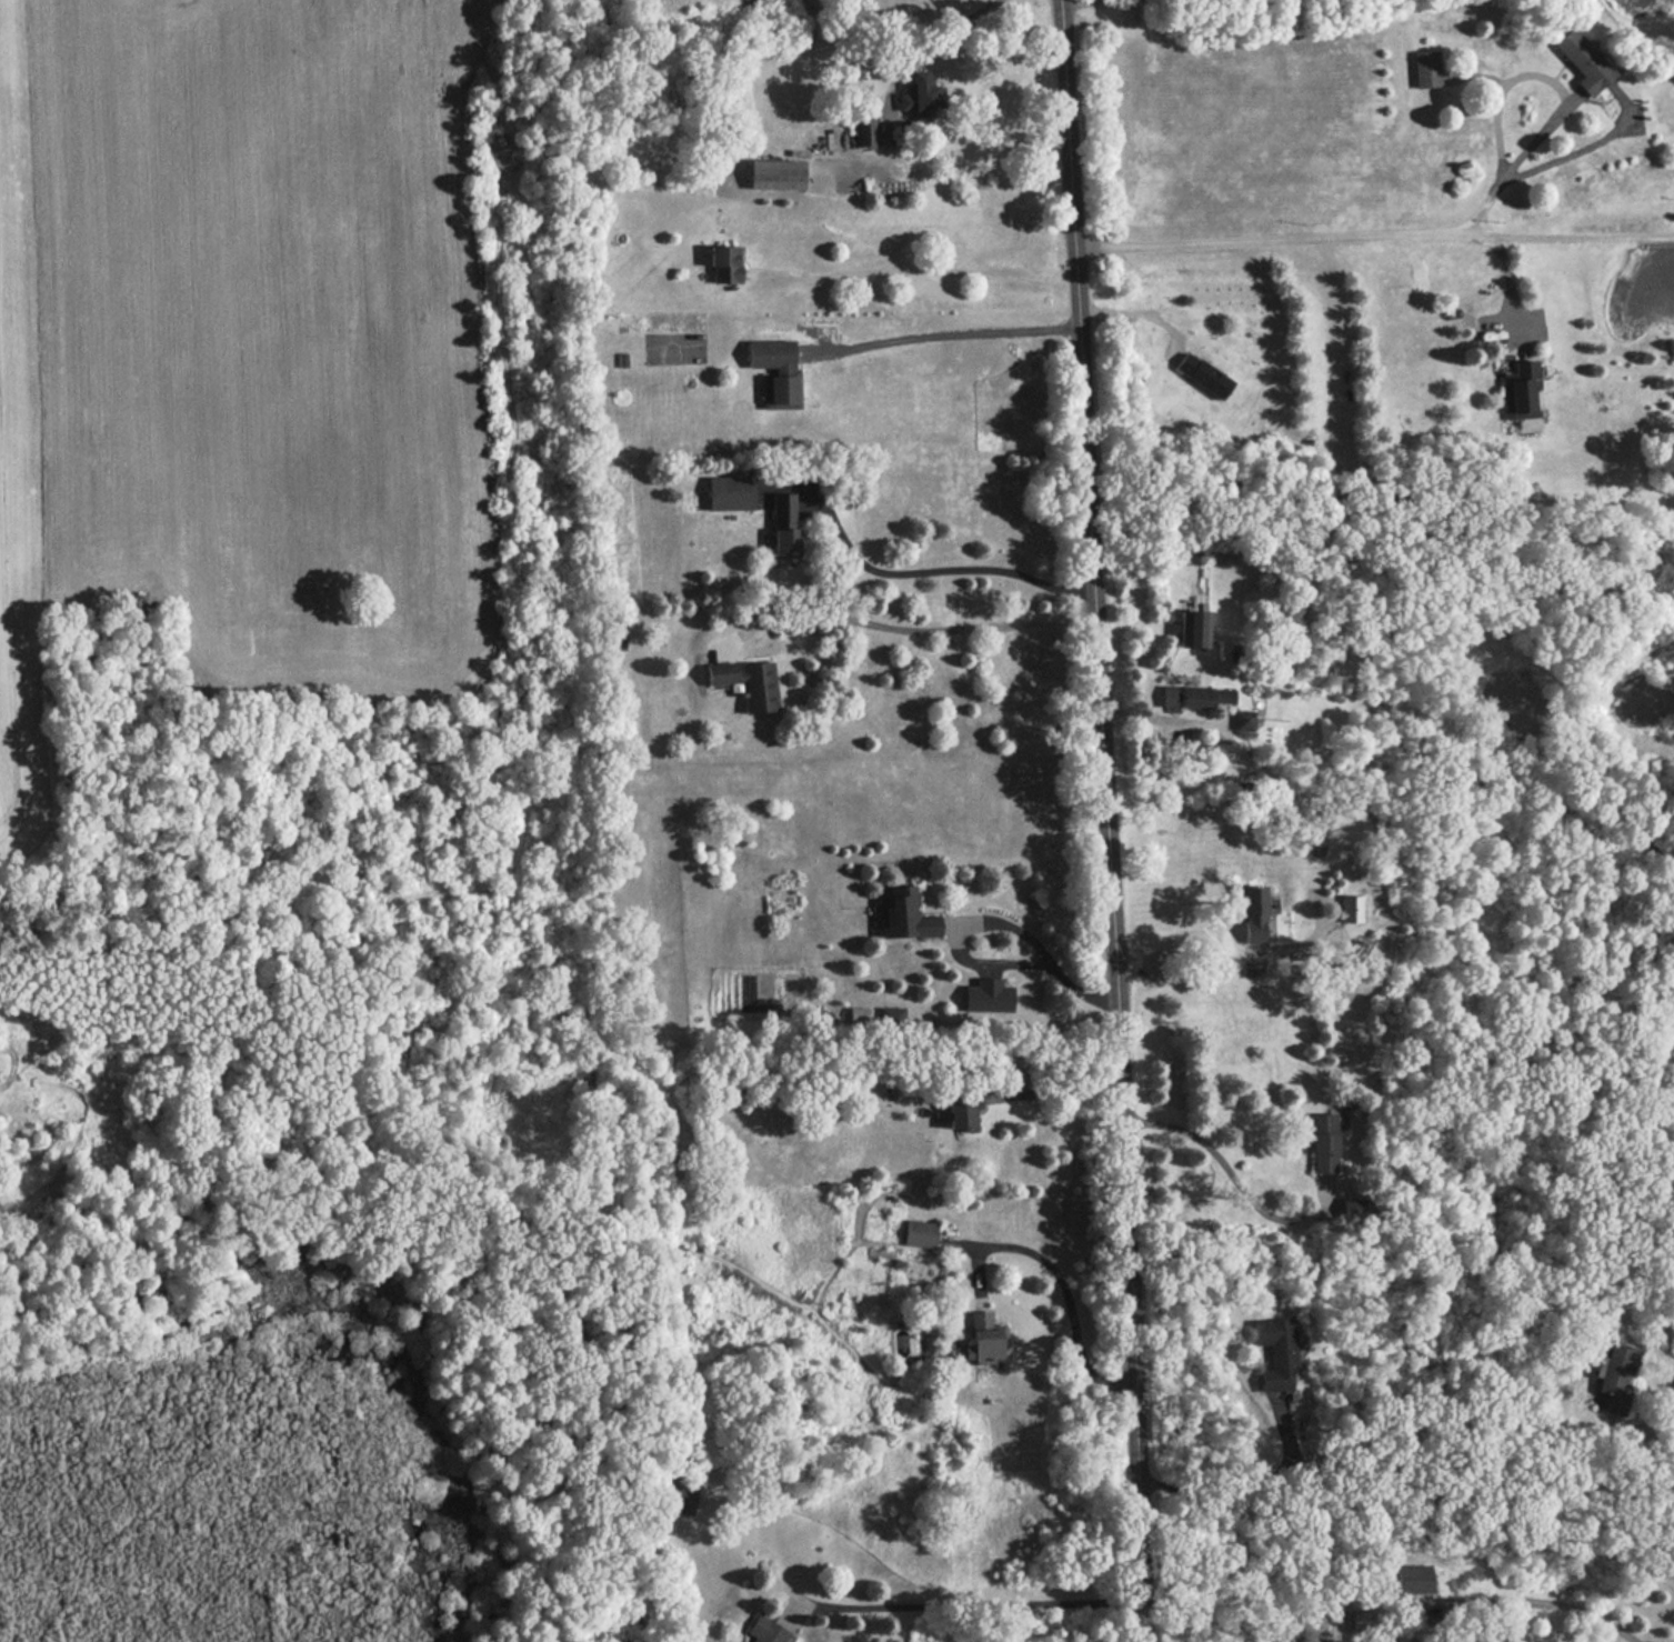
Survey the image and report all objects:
road: (930, 44)
building: (1583, 61)
building: (1427, 68)
building: (920, 93)
road: (1563, 102)
building: (863, 130)
building: (776, 173)
road: (1372, 238)
building: (724, 263)
road: (921, 272)
road: (1512, 293)
road: (946, 337)
building: (775, 371)
building: (1203, 374)
building: (1522, 389)
building: (729, 492)
building: (783, 525)
road: (936, 568)
building: (1193, 627)
road: (908, 628)
building: (746, 681)
building: (1194, 695)
road: (1166, 714)
building: (1243, 719)
road: (1114, 820)
building: (1351, 907)
building: (1256, 911)
building: (906, 914)
road: (1174, 947)
road: (1042, 953)
building: (986, 994)
building: (858, 1014)
building: (891, 1015)
road: (1055, 1091)
building: (963, 1112)
building: (1323, 1142)
road: (1235, 1179)
building: (1356, 1209)
building: (921, 1232)
road: (1060, 1278)
building: (984, 1338)
building: (1276, 1350)
building: (1616, 1375)
road: (1656, 1428)
road: (1243, 1489)
building: (676, 1498)
building: (1414, 1576)
road: (1561, 1604)
road: (978, 1605)
building: (766, 1631)

